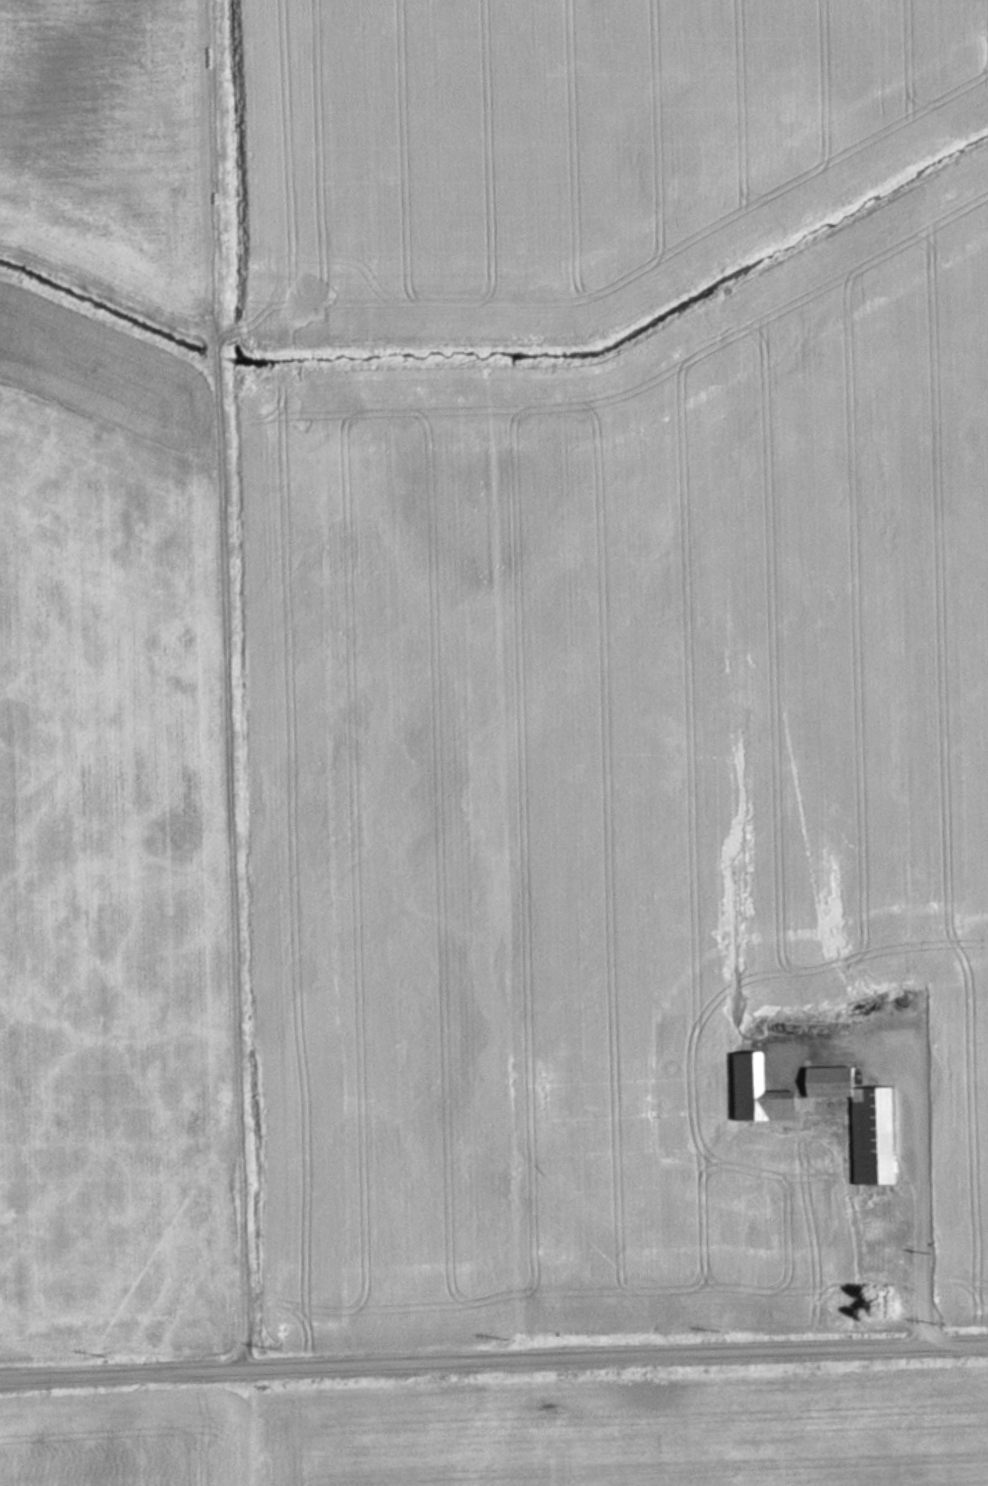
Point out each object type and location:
building: (765, 1093)
building: (868, 1123)
road: (493, 1361)

